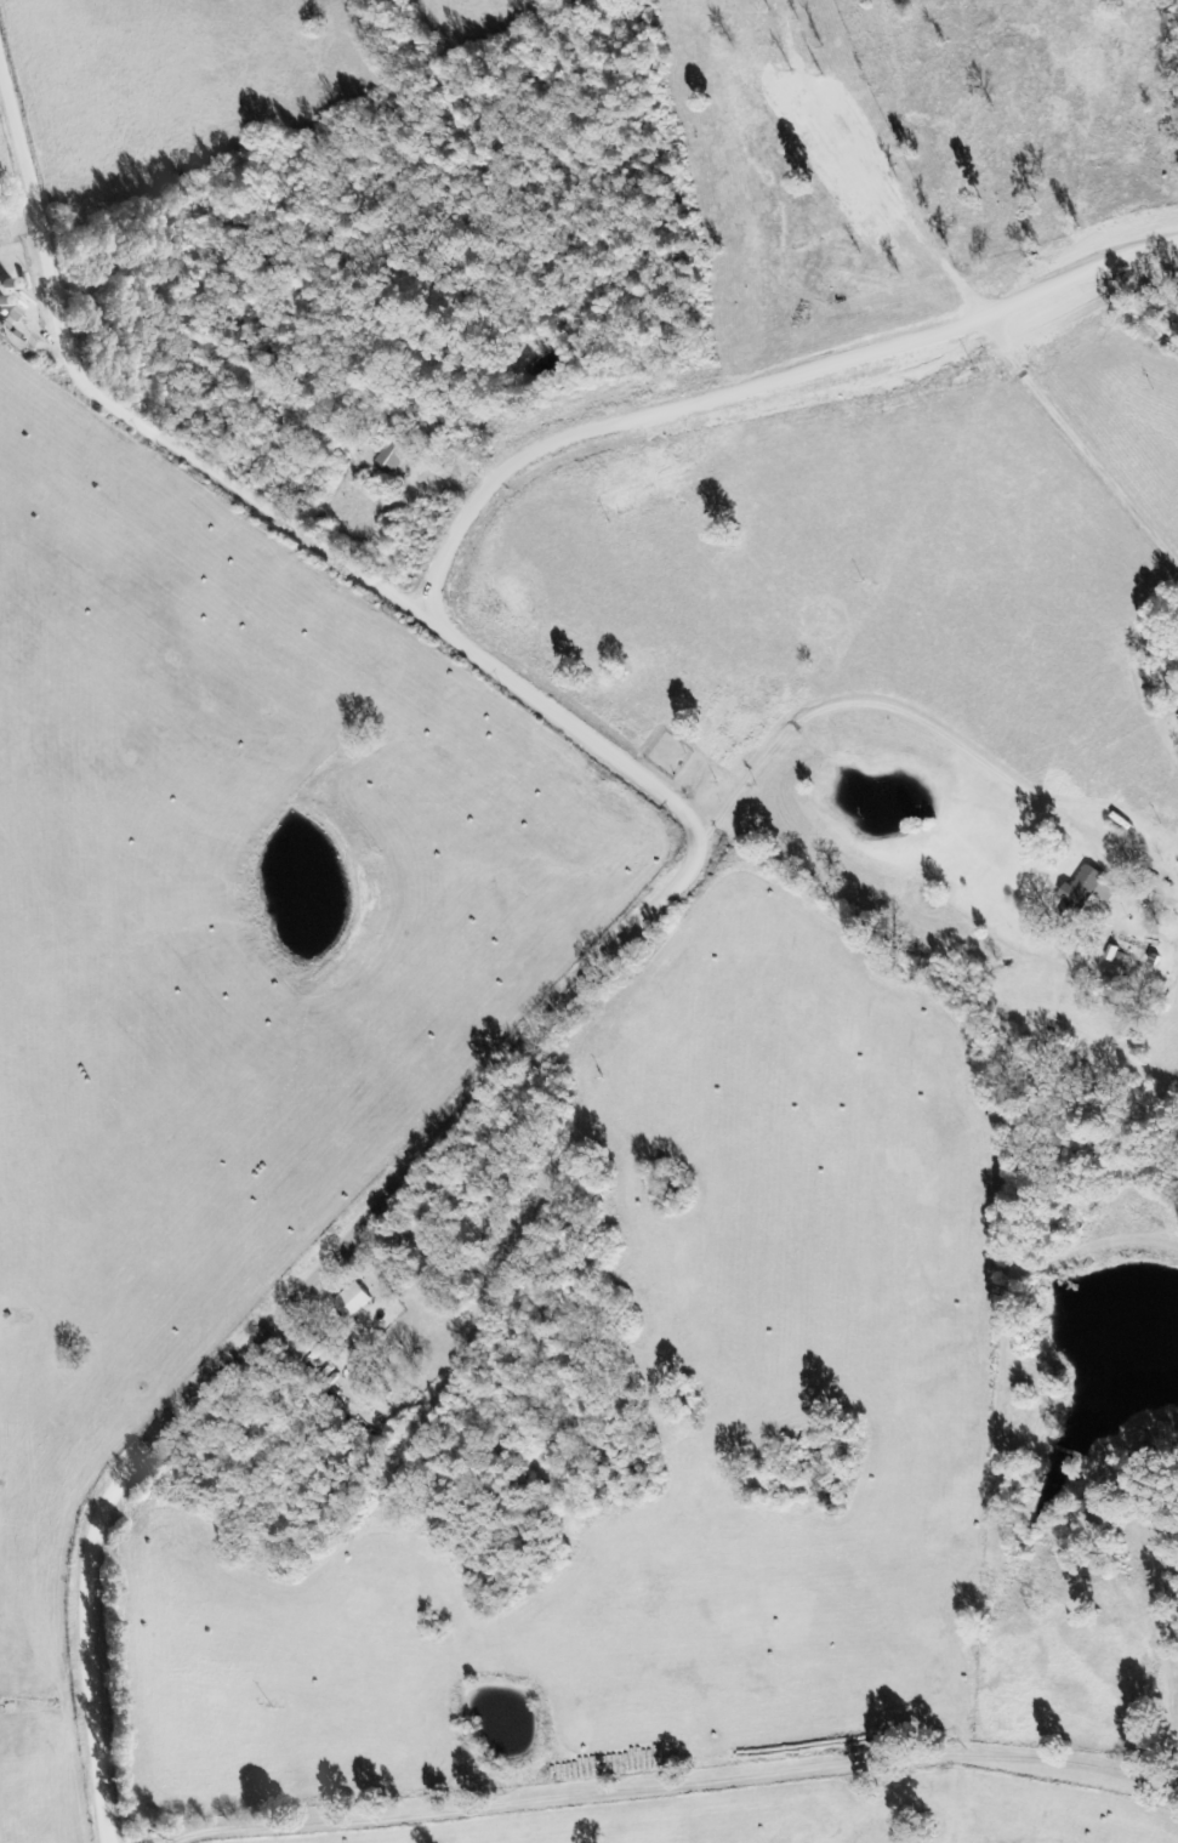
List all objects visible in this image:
building: (11, 317)
road: (793, 396)
road: (985, 585)
building: (1082, 893)
road: (938, 909)
road: (662, 912)
building: (352, 1301)
road: (685, 1779)

